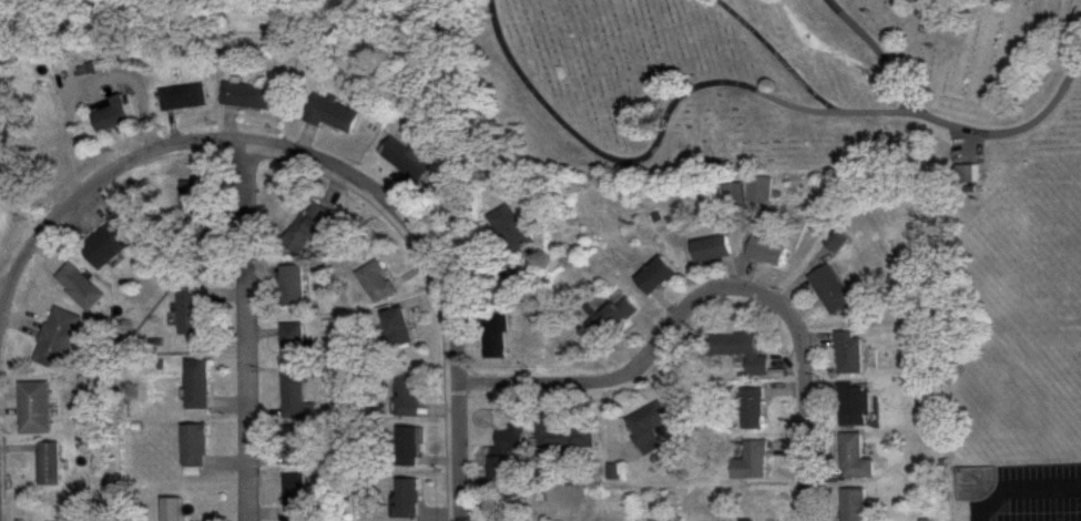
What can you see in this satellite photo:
road: (776, 53)
road: (876, 57)
road: (738, 84)
park: (783, 86)
building: (252, 95)
building: (185, 96)
building: (332, 114)
building: (110, 118)
building: (406, 157)
building: (759, 191)
road: (88, 195)
building: (733, 195)
building: (192, 204)
building: (307, 228)
building: (509, 228)
building: (835, 241)
building: (109, 243)
building: (711, 248)
building: (765, 252)
building: (510, 276)
building: (655, 276)
road: (436, 279)
building: (375, 282)
building: (292, 285)
building: (78, 287)
building: (830, 289)
road: (715, 290)
building: (188, 311)
building: (611, 318)
building: (397, 328)
road: (247, 331)
building: (494, 337)
building: (55, 338)
building: (293, 341)
building: (740, 350)
building: (846, 351)
building: (195, 384)
building: (293, 396)
building: (408, 396)
building: (853, 405)
building: (33, 407)
building: (752, 408)
building: (647, 420)
building: (564, 436)
building: (193, 445)
building: (294, 446)
building: (408, 447)
building: (504, 452)
building: (851, 458)
building: (749, 461)
building: (48, 463)
building: (296, 497)
building: (408, 497)
building: (851, 504)
building: (507, 520)
building: (743, 520)

